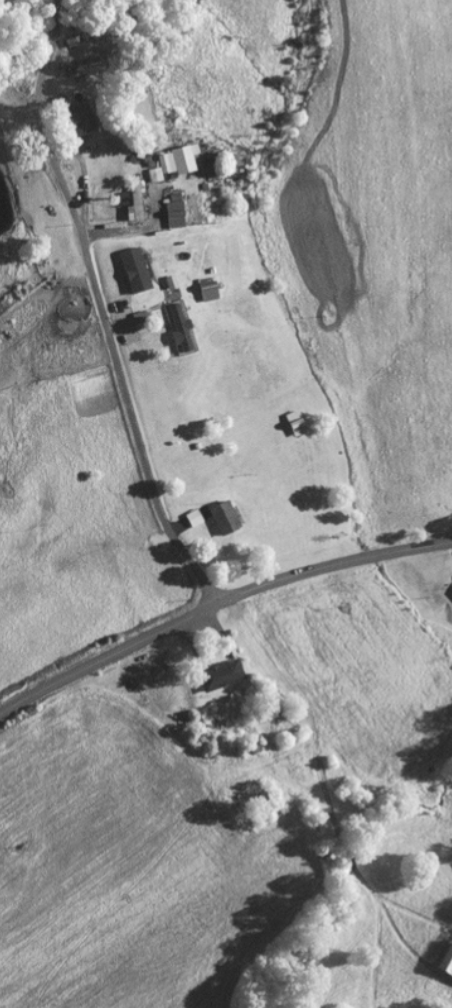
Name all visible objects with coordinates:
building: (74, 120)
building: (172, 162)
building: (131, 201)
building: (172, 211)
building: (132, 270)
building: (168, 282)
road: (100, 309)
building: (178, 327)
building: (219, 516)
building: (191, 518)
road: (217, 604)
building: (217, 674)
building: (444, 959)

